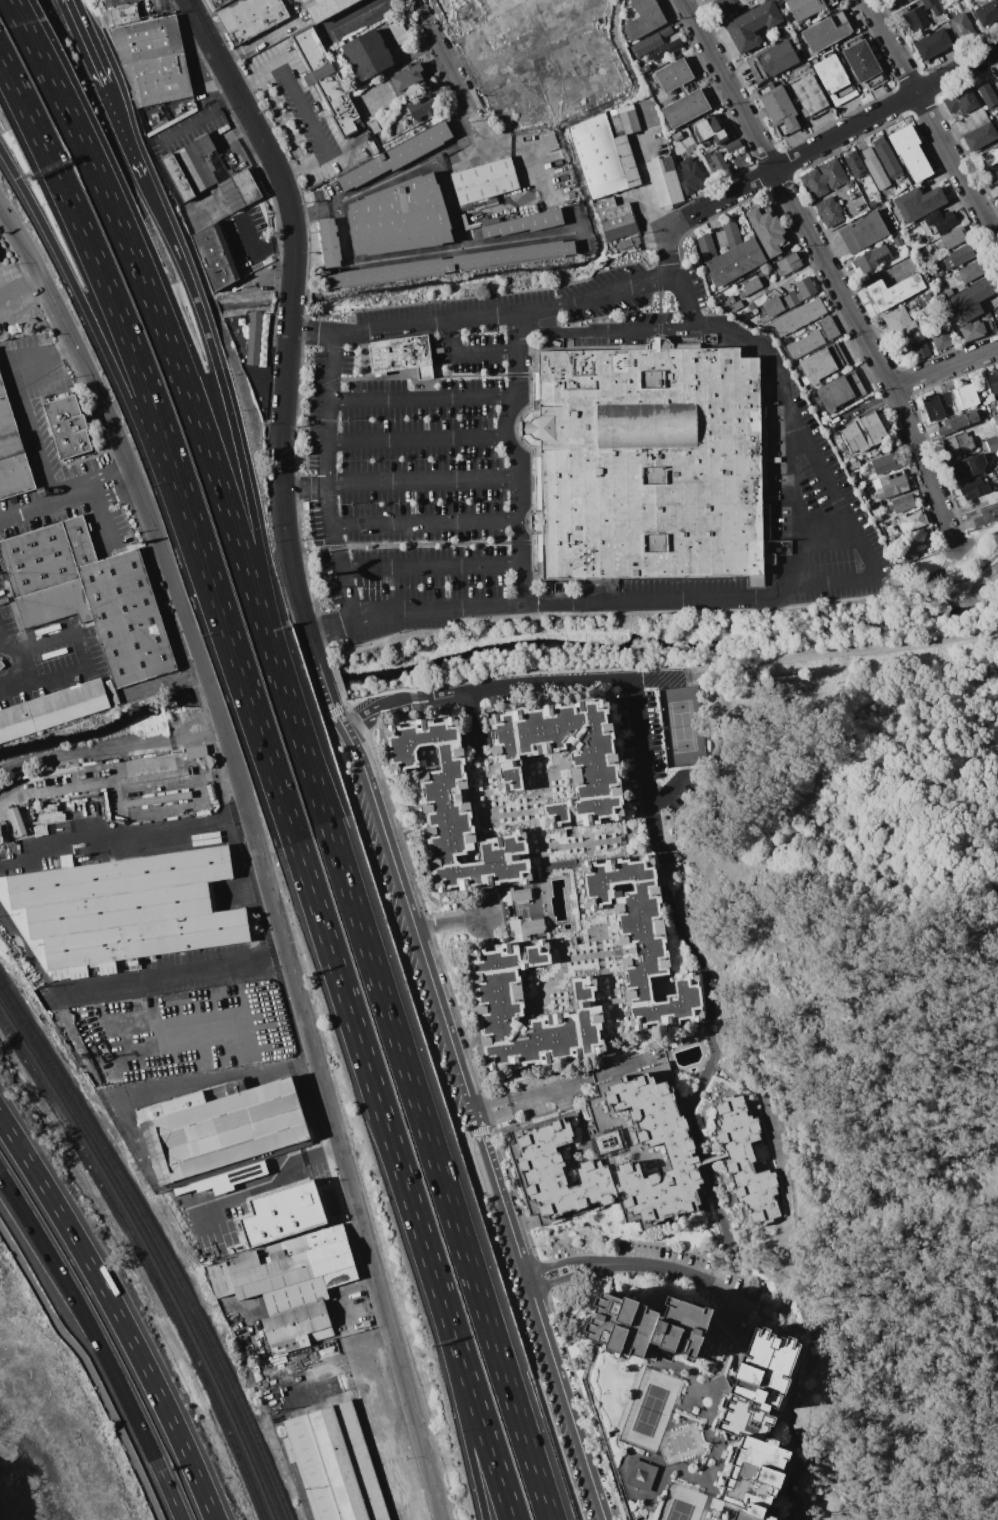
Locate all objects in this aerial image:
building: (954, 0)
building: (217, 3)
building: (753, 3)
gas station: (216, 4)
building: (725, 6)
building: (325, 8)
building: (807, 8)
building: (935, 9)
gas station: (134, 10)
road: (15, 12)
building: (987, 12)
building: (123, 14)
building: (250, 17)
building: (644, 18)
building: (917, 18)
road: (427, 23)
building: (752, 25)
building: (962, 26)
building: (398, 31)
building: (825, 31)
building: (147, 39)
building: (651, 41)
road: (82, 43)
building: (933, 44)
building: (666, 49)
building: (366, 54)
building: (772, 60)
building: (861, 60)
building: (646, 69)
building: (408, 77)
building: (159, 79)
building: (834, 79)
road: (247, 80)
road: (458, 80)
building: (326, 81)
building: (996, 83)
building: (667, 90)
building: (987, 93)
building: (810, 97)
building: (961, 101)
building: (422, 107)
road: (303, 109)
building: (779, 109)
parking lot: (305, 114)
road: (199, 118)
road: (286, 118)
building: (622, 120)
road: (931, 122)
building: (710, 130)
building: (980, 130)
road: (124, 136)
building: (677, 136)
road: (830, 138)
road: (261, 139)
building: (550, 141)
building: (733, 145)
building: (911, 152)
building: (396, 156)
building: (603, 157)
building: (990, 157)
building: (211, 158)
building: (887, 158)
building: (854, 163)
building: (716, 164)
building: (194, 168)
building: (874, 168)
road: (294, 172)
building: (691, 176)
building: (177, 177)
building: (994, 177)
building: (824, 178)
road: (387, 179)
building: (485, 181)
building: (663, 181)
building: (850, 183)
building: (245, 186)
road: (785, 193)
building: (230, 194)
road: (332, 202)
building: (919, 202)
road: (449, 203)
road: (309, 211)
building: (830, 211)
building: (399, 218)
building: (615, 218)
building: (941, 221)
building: (524, 223)
building: (916, 225)
building: (767, 230)
building: (731, 232)
building: (864, 232)
parking lot: (247, 236)
road: (524, 238)
building: (952, 238)
building: (897, 240)
building: (330, 243)
building: (890, 245)
building: (706, 246)
road: (259, 252)
road: (668, 253)
building: (959, 256)
building: (215, 257)
road: (374, 259)
building: (872, 259)
building: (735, 261)
building: (788, 263)
building: (450, 264)
building: (971, 271)
building: (940, 274)
road: (782, 280)
building: (752, 285)
road: (658, 291)
building: (893, 291)
building: (800, 292)
road: (24, 295)
road: (112, 300)
building: (970, 300)
building: (728, 301)
road: (290, 303)
building: (927, 303)
building: (736, 305)
building: (773, 306)
building: (799, 316)
road: (481, 317)
building: (900, 323)
road: (517, 324)
building: (828, 328)
building: (973, 330)
road: (605, 331)
road: (660, 331)
road: (164, 335)
building: (254, 338)
building: (941, 338)
building: (805, 344)
road: (102, 349)
building: (921, 349)
road: (467, 353)
road: (364, 354)
building: (400, 355)
building: (822, 363)
road: (448, 364)
road: (285, 367)
road: (944, 367)
road: (412, 374)
building: (993, 381)
building: (840, 392)
road: (21, 395)
building: (965, 397)
road: (423, 399)
road: (521, 402)
building: (936, 406)
road: (230, 417)
building: (995, 419)
building: (964, 420)
building: (68, 426)
building: (863, 432)
building: (979, 433)
road: (416, 439)
building: (960, 443)
building: (993, 444)
road: (124, 451)
building: (12, 453)
road: (522, 453)
parking lot: (417, 454)
road: (530, 463)
building: (649, 463)
building: (884, 464)
road: (519, 465)
building: (853, 465)
building: (971, 465)
road: (924, 467)
road: (109, 471)
road: (326, 478)
road: (422, 480)
building: (890, 486)
road: (303, 487)
building: (974, 487)
road: (117, 494)
road: (47, 503)
building: (903, 503)
building: (874, 505)
road: (100, 510)
building: (876, 514)
building: (987, 515)
road: (522, 521)
building: (912, 521)
road: (423, 522)
road: (827, 533)
road: (859, 540)
road: (409, 543)
building: (911, 553)
road: (944, 563)
road: (430, 565)
road: (291, 568)
road: (937, 579)
park: (960, 579)
building: (559, 587)
building: (89, 595)
road: (741, 597)
road: (533, 609)
road: (603, 613)
road: (63, 635)
road: (11, 659)
park: (982, 664)
road: (664, 666)
park: (793, 683)
road: (47, 684)
road: (509, 686)
building: (52, 709)
park: (682, 725)
road: (642, 747)
road: (111, 750)
building: (195, 751)
road: (356, 754)
road: (307, 762)
building: (594, 765)
building: (177, 772)
road: (668, 790)
building: (453, 811)
building: (17, 821)
building: (0, 833)
road: (294, 835)
road: (126, 836)
building: (516, 896)
building: (122, 910)
road: (448, 924)
building: (526, 929)
building: (640, 940)
road: (26, 957)
road: (950, 966)
road: (158, 979)
building: (499, 1005)
park: (889, 1021)
parking lot: (184, 1031)
road: (714, 1050)
road: (228, 1075)
road: (529, 1096)
road: (450, 1112)
road: (335, 1116)
road: (5, 1126)
building: (220, 1127)
building: (608, 1142)
building: (680, 1149)
road: (489, 1159)
building: (746, 1160)
building: (558, 1170)
building: (224, 1179)
road: (274, 1180)
road: (445, 1192)
building: (283, 1211)
road: (414, 1211)
railway: (159, 1244)
railway: (152, 1253)
railway: (145, 1261)
road: (564, 1262)
road: (568, 1278)
road: (711, 1283)
building: (291, 1284)
road: (121, 1322)
road: (382, 1339)
road: (97, 1344)
building: (243, 1346)
road: (322, 1361)
road: (89, 1366)
building: (690, 1408)
park: (651, 1409)
road: (478, 1411)
road: (462, 1412)
building: (335, 1464)
park: (684, 1504)

